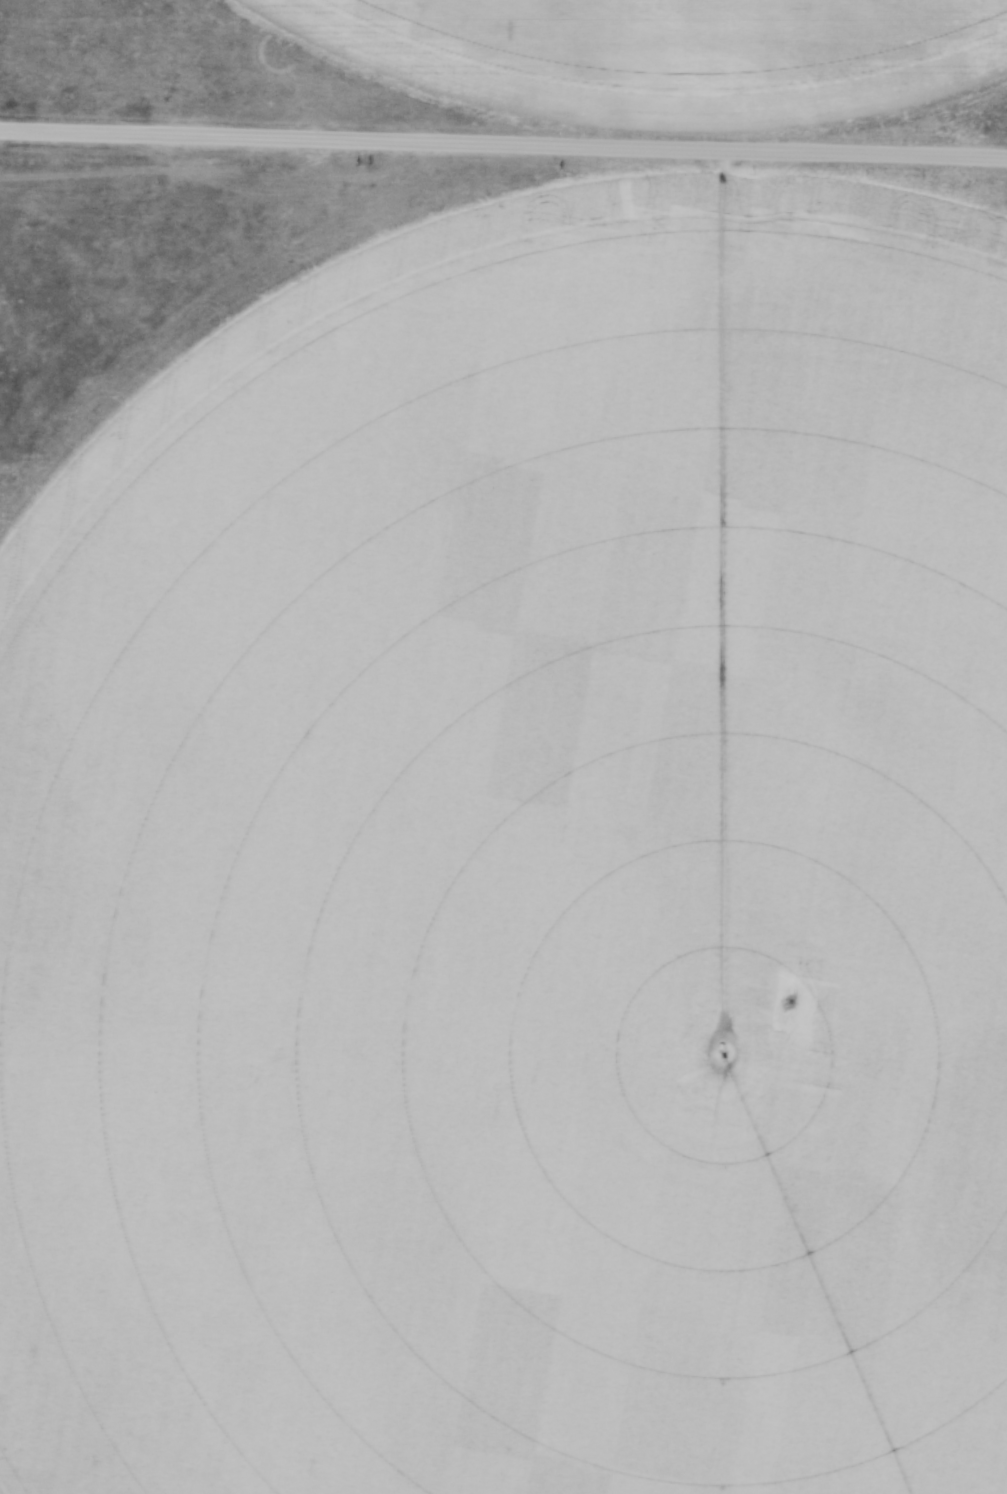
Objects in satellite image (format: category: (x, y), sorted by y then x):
crop: (673, 53)
road: (503, 142)
crop: (521, 867)

